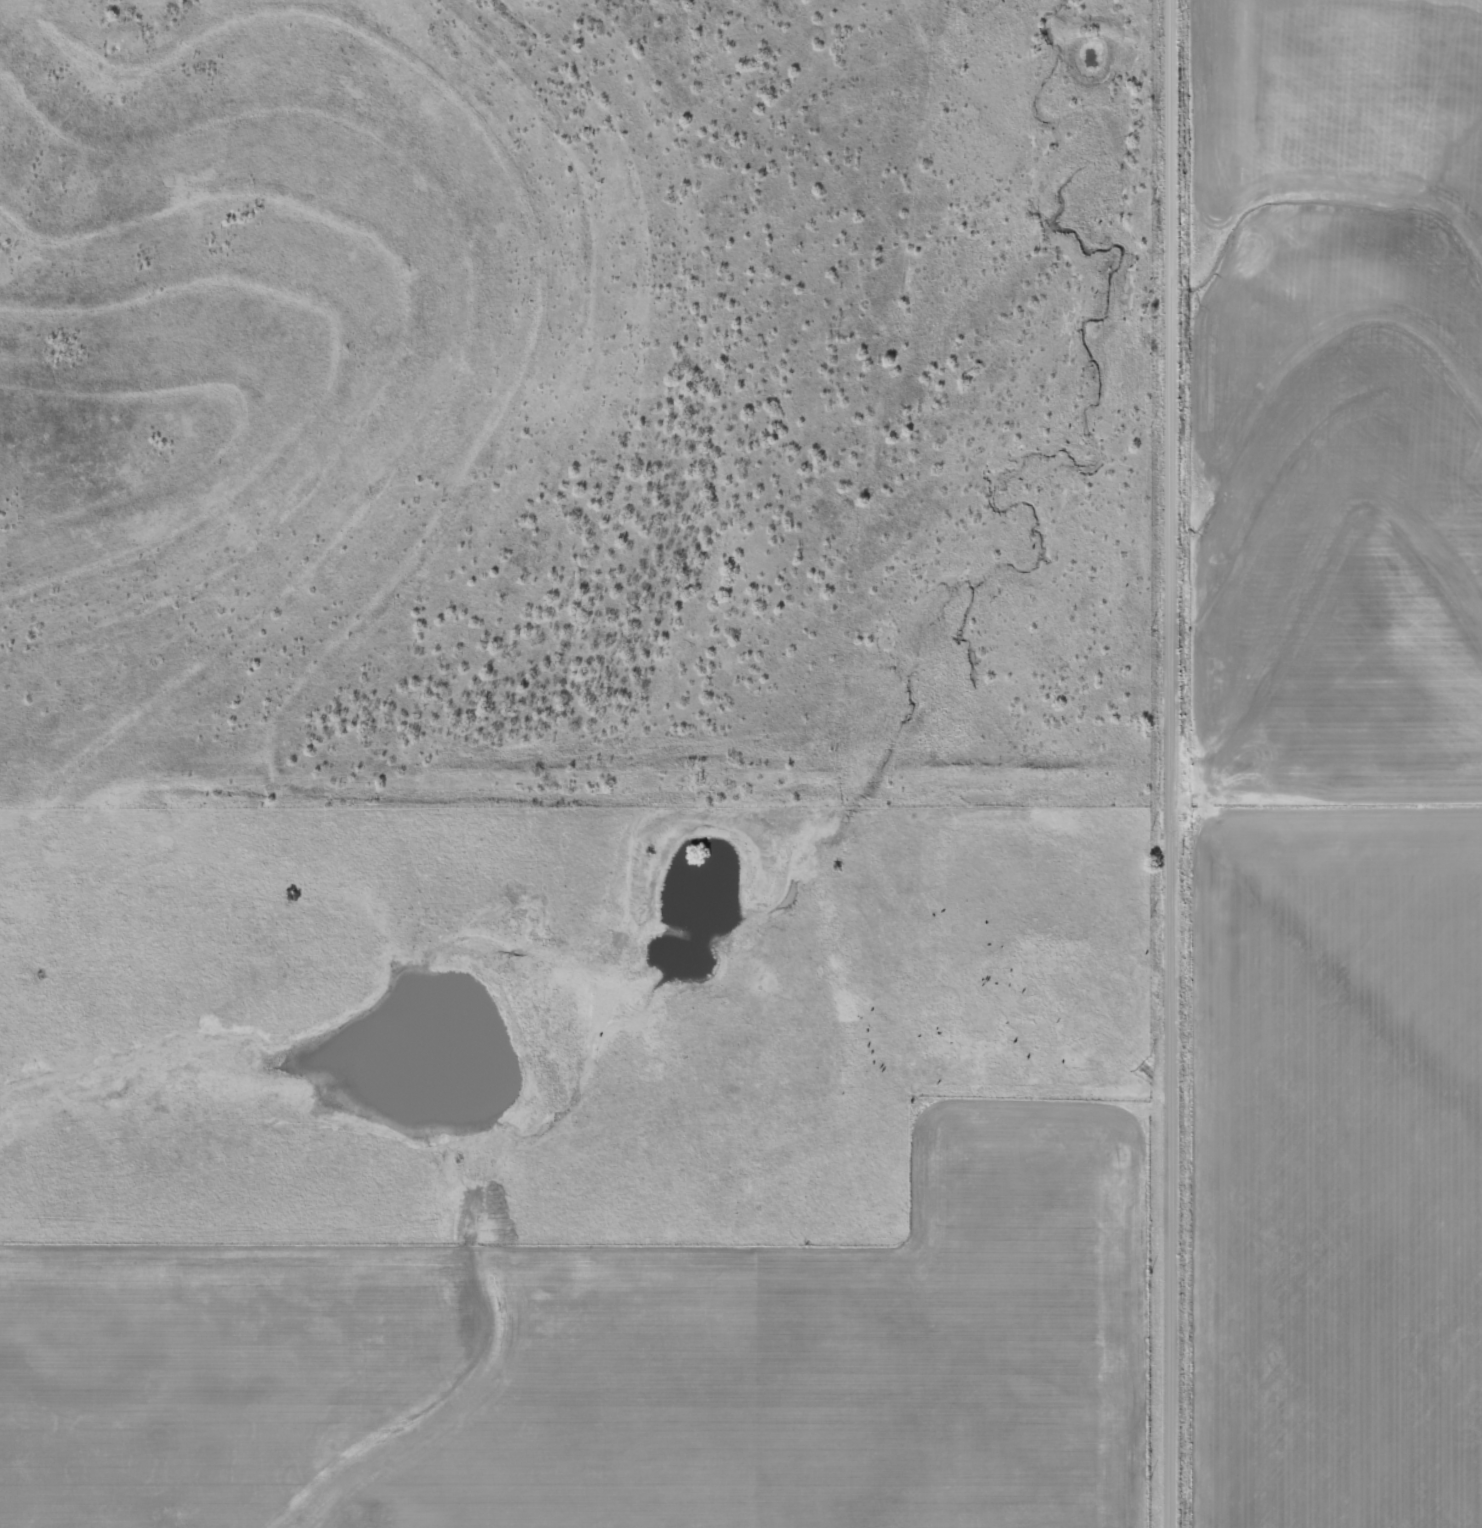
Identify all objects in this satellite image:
road: (1189, 764)

